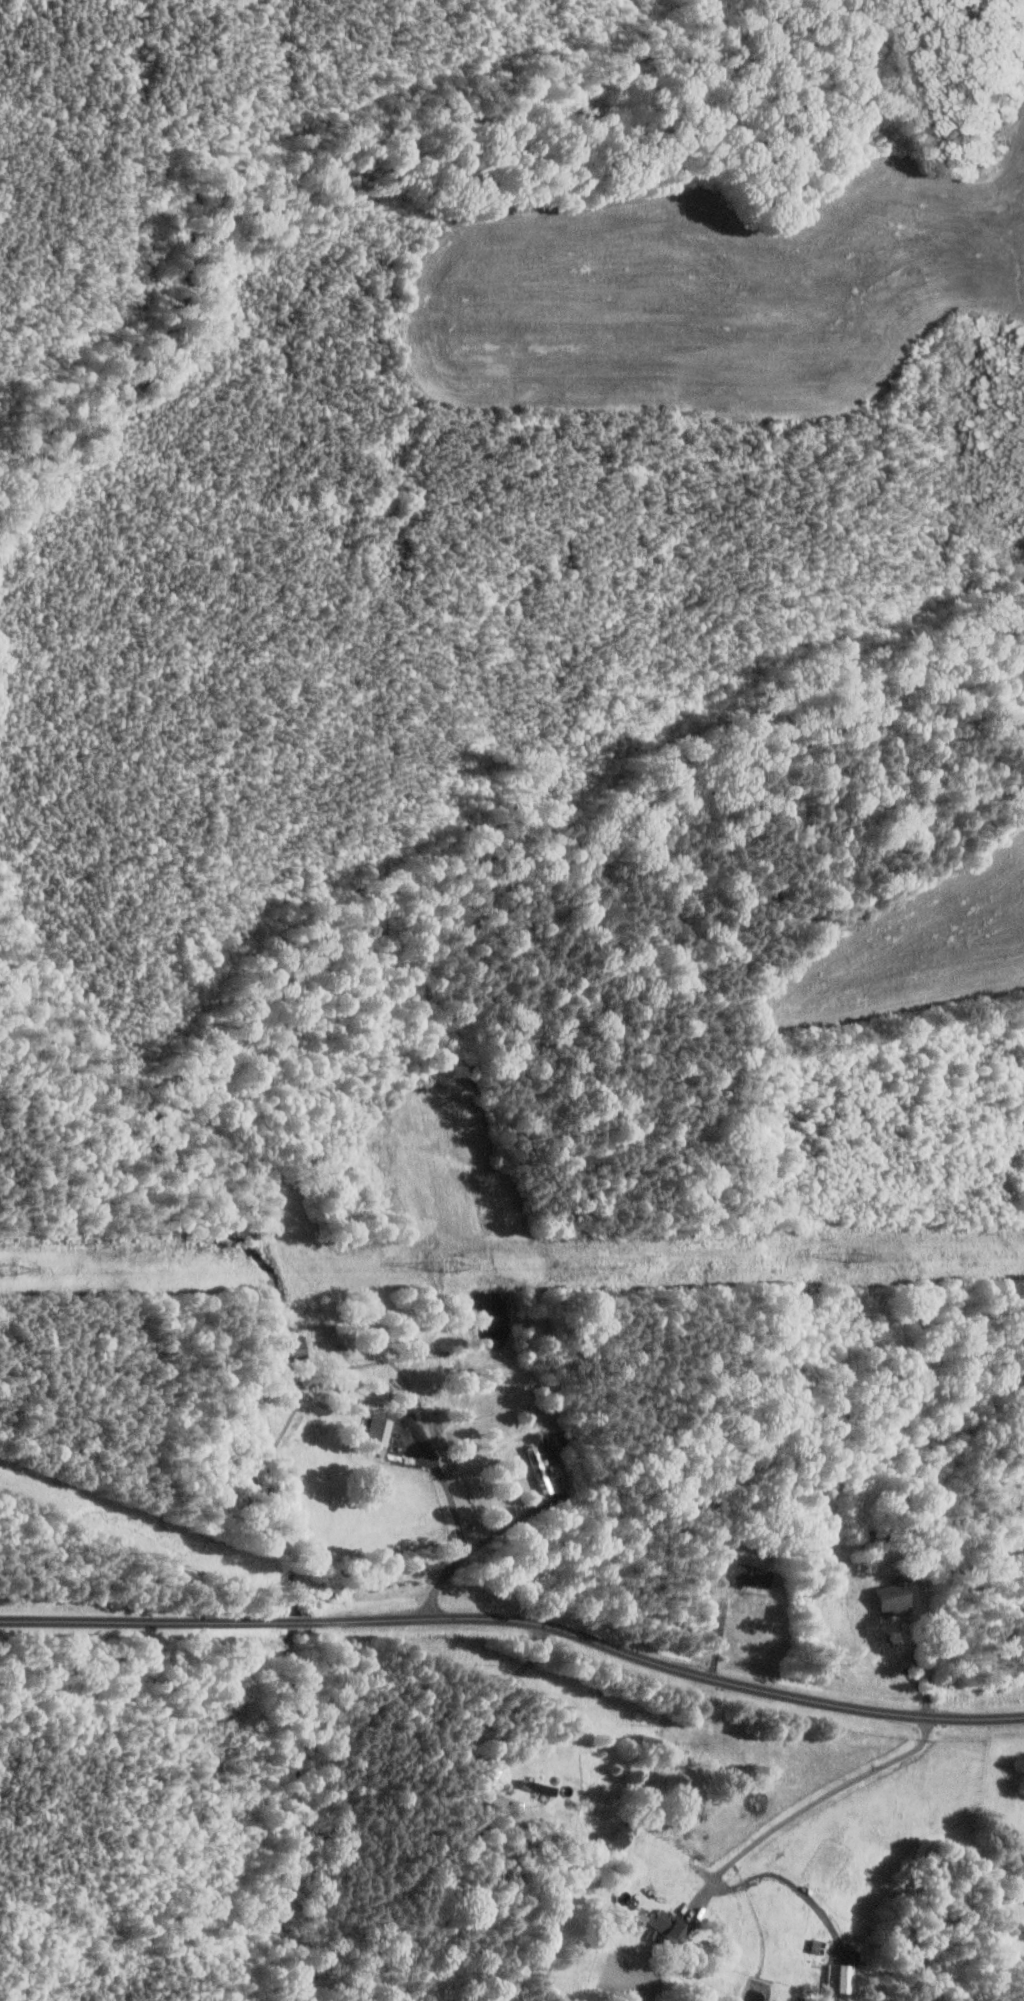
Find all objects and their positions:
power tower: (856, 1258)
power tower: (451, 1265)
power tower: (37, 1270)
building: (293, 1347)
building: (378, 1429)
road: (521, 1515)
road: (461, 1527)
building: (1015, 1530)
building: (746, 1574)
building: (893, 1596)
road: (136, 1614)
road: (294, 1621)
road: (668, 1663)
road: (932, 1669)
road: (480, 1711)
road: (804, 1807)
road: (784, 1876)
building: (667, 1924)
building: (840, 1977)

